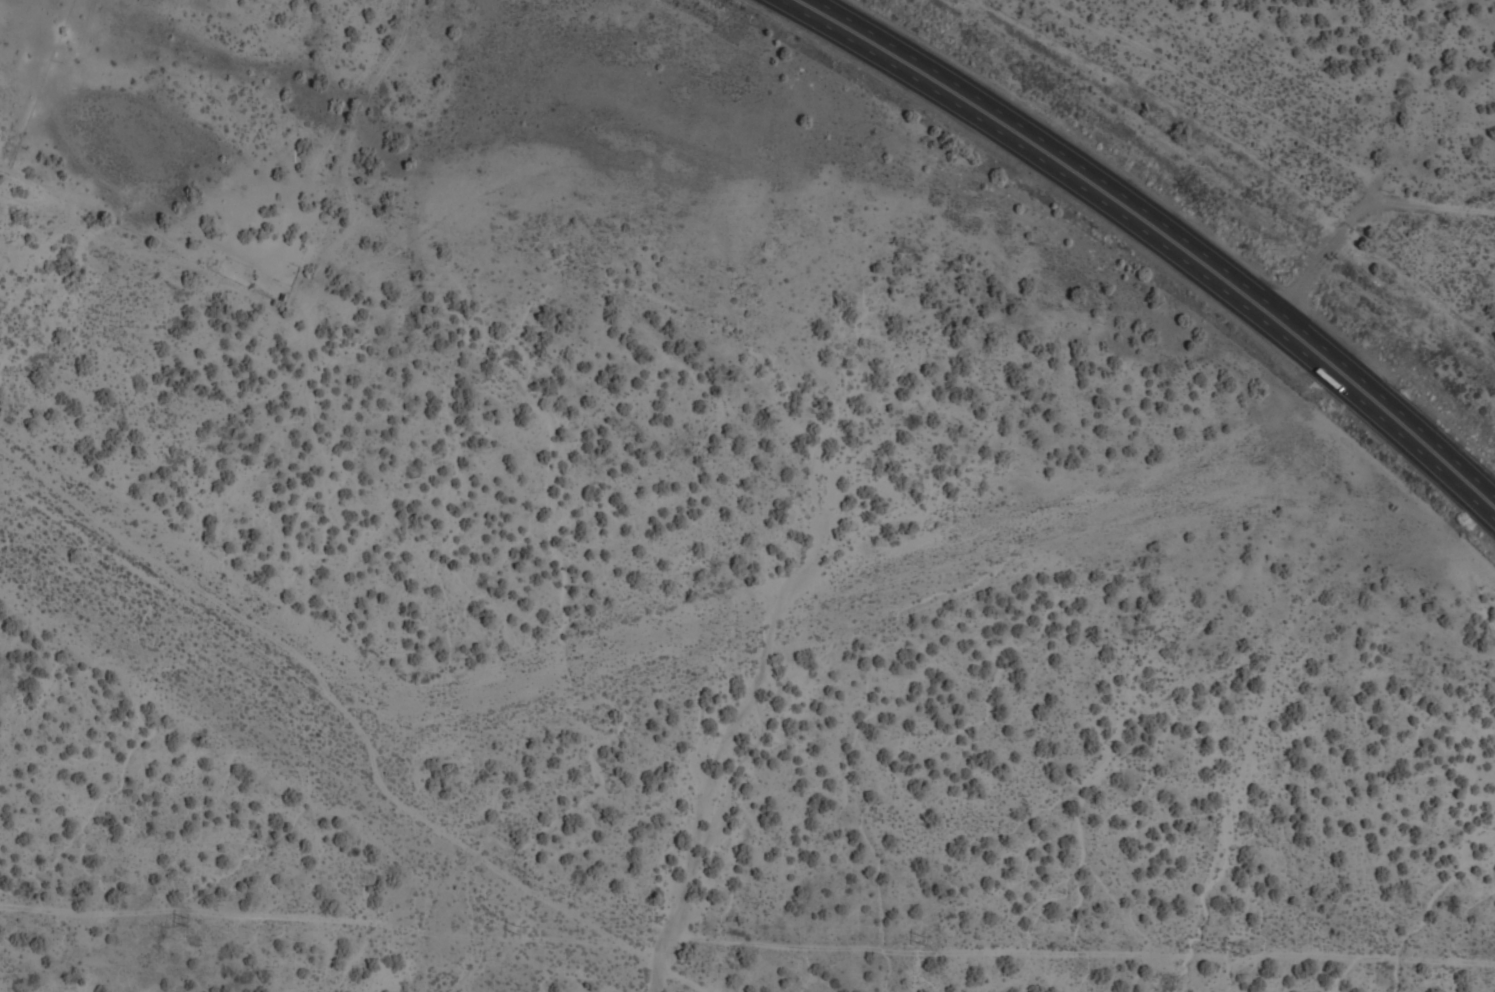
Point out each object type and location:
road: (1359, 215)
road: (1169, 229)
road: (1153, 240)
power tower: (181, 924)
power tower: (515, 932)
power tower: (922, 941)
power tower: (1233, 947)

